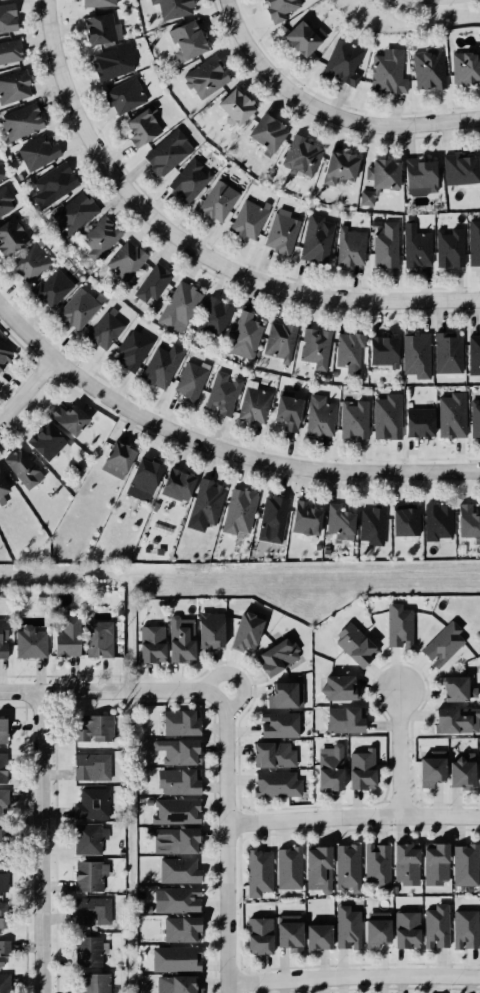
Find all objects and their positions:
building: (94, 2)
road: (440, 3)
building: (172, 8)
building: (278, 8)
park: (410, 13)
building: (5, 15)
building: (97, 26)
building: (301, 36)
building: (184, 38)
building: (7, 49)
building: (110, 60)
building: (338, 62)
building: (427, 68)
building: (465, 69)
building: (385, 70)
building: (203, 78)
building: (13, 85)
building: (121, 93)
building: (229, 107)
road: (324, 113)
building: (19, 121)
building: (137, 126)
building: (262, 131)
building: (166, 150)
building: (35, 152)
building: (297, 155)
building: (334, 165)
building: (457, 168)
building: (379, 172)
building: (1, 173)
building: (416, 174)
building: (186, 179)
building: (53, 183)
building: (363, 198)
building: (4, 199)
building: (216, 201)
building: (70, 213)
building: (245, 219)
building: (280, 232)
building: (8, 234)
building: (313, 237)
building: (97, 239)
building: (473, 241)
building: (382, 245)
building: (413, 245)
building: (346, 246)
building: (446, 246)
road: (193, 247)
building: (123, 261)
building: (28, 263)
building: (150, 284)
building: (50, 289)
building: (179, 304)
building: (78, 311)
building: (213, 316)
building: (103, 332)
building: (242, 334)
building: (277, 342)
building: (130, 348)
building: (314, 349)
building: (379, 349)
building: (347, 350)
building: (473, 351)
building: (446, 352)
building: (2, 354)
building: (413, 355)
building: (158, 365)
building: (189, 381)
road: (24, 386)
building: (219, 395)
building: (252, 406)
building: (284, 411)
building: (384, 415)
building: (449, 416)
building: (474, 416)
building: (66, 417)
building: (350, 417)
building: (317, 418)
building: (416, 420)
building: (43, 441)
road: (216, 446)
building: (111, 455)
building: (20, 468)
building: (140, 479)
building: (173, 485)
building: (1, 487)
building: (204, 501)
building: (236, 511)
building: (304, 517)
building: (465, 517)
building: (270, 518)
building: (402, 518)
building: (338, 520)
building: (433, 520)
building: (369, 524)
building: (400, 625)
building: (214, 630)
building: (0, 632)
building: (248, 632)
building: (99, 637)
building: (184, 638)
building: (64, 639)
building: (443, 641)
building: (29, 642)
building: (153, 643)
building: (358, 644)
building: (280, 656)
road: (238, 675)
building: (342, 687)
building: (459, 687)
road: (107, 690)
building: (288, 693)
building: (147, 719)
building: (348, 719)
building: (459, 720)
building: (183, 723)
building: (276, 723)
building: (1, 729)
building: (91, 729)
building: (181, 750)
road: (400, 751)
building: (273, 755)
building: (90, 765)
building: (479, 766)
building: (432, 767)
building: (3, 768)
building: (330, 768)
building: (361, 769)
building: (462, 773)
building: (180, 783)
building: (275, 785)
building: (2, 796)
building: (91, 805)
building: (178, 811)
road: (353, 815)
building: (4, 836)
building: (89, 841)
building: (178, 841)
road: (46, 842)
road: (227, 842)
building: (378, 863)
building: (408, 863)
building: (438, 863)
building: (466, 865)
building: (348, 866)
building: (290, 867)
building: (321, 868)
building: (260, 871)
building: (181, 873)
building: (86, 876)
building: (2, 880)
building: (179, 900)
building: (88, 911)
building: (3, 915)
building: (438, 926)
building: (348, 927)
building: (409, 929)
building: (467, 929)
building: (184, 931)
building: (379, 932)
building: (261, 934)
building: (292, 934)
building: (321, 936)
building: (4, 945)
building: (86, 951)
building: (177, 958)
building: (0, 960)
road: (353, 976)
building: (2, 983)
building: (91, 984)
building: (184, 985)

